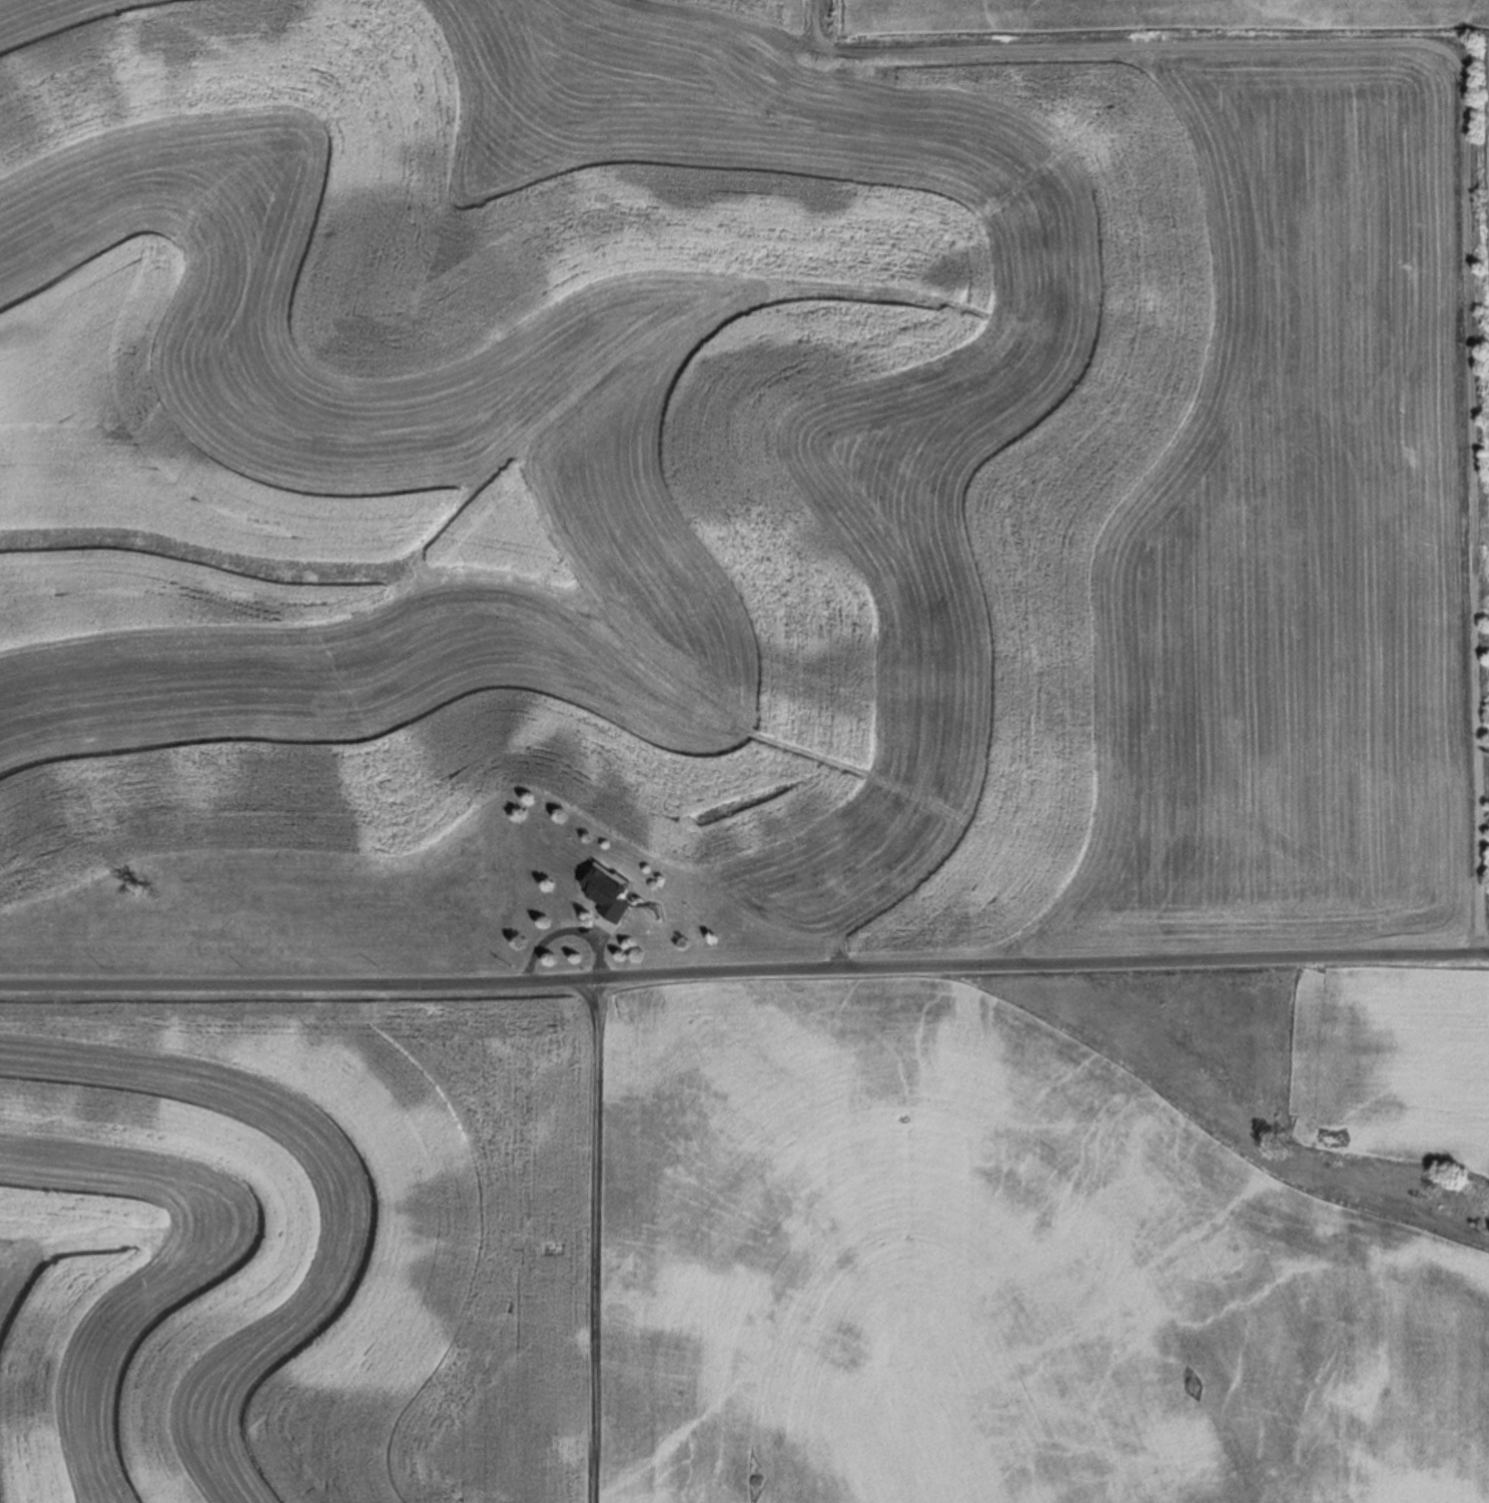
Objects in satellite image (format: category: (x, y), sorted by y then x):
road: (1475, 165)
building: (607, 893)
road: (744, 970)

